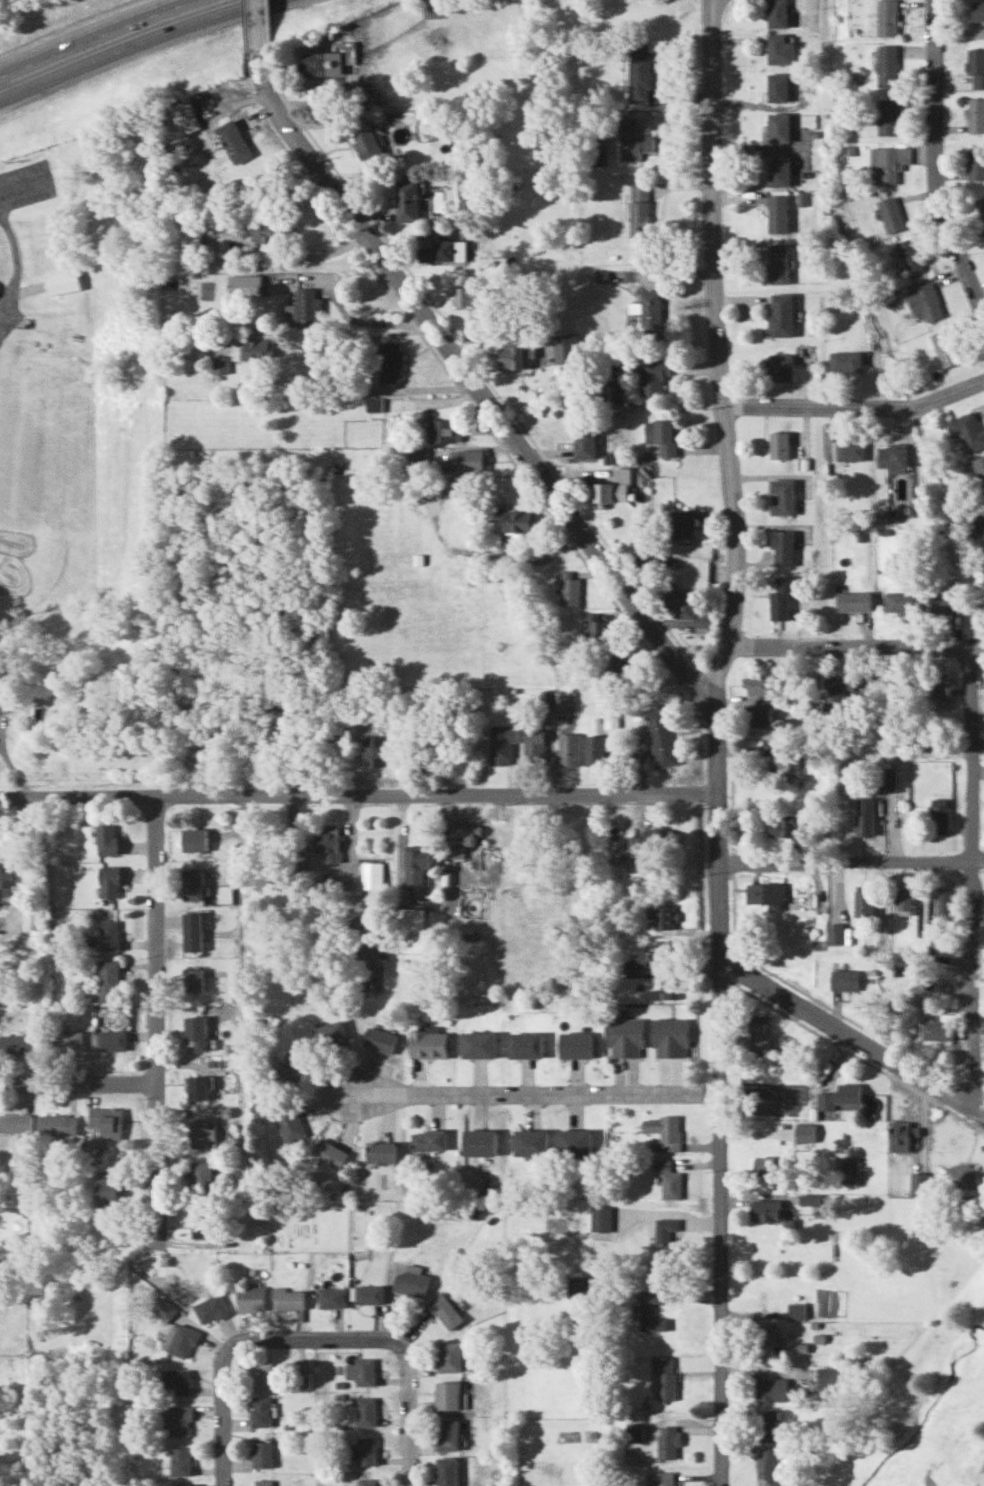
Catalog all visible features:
building: (977, 10)
building: (777, 13)
building: (888, 17)
road: (256, 24)
building: (976, 32)
road: (94, 36)
road: (129, 44)
building: (781, 50)
building: (348, 52)
building: (322, 64)
building: (888, 66)
building: (975, 66)
building: (640, 73)
building: (779, 87)
building: (975, 115)
building: (889, 117)
building: (779, 127)
building: (634, 141)
building: (233, 142)
building: (367, 144)
road: (940, 159)
building: (975, 163)
building: (884, 166)
building: (780, 172)
road: (26, 181)
building: (407, 200)
building: (981, 208)
building: (779, 214)
building: (892, 214)
building: (640, 218)
building: (261, 227)
building: (191, 238)
building: (444, 252)
building: (911, 256)
road: (17, 259)
building: (779, 263)
building: (61, 282)
building: (244, 285)
building: (470, 297)
building: (925, 301)
building: (308, 307)
building: (652, 313)
building: (782, 315)
road: (336, 340)
building: (566, 346)
building: (945, 347)
building: (253, 350)
building: (516, 357)
building: (390, 361)
building: (846, 361)
building: (220, 365)
building: (782, 367)
building: (654, 376)
road: (472, 381)
road: (858, 400)
building: (372, 404)
building: (444, 431)
building: (968, 431)
building: (662, 436)
building: (585, 445)
building: (780, 446)
building: (851, 450)
building: (416, 455)
building: (895, 457)
building: (470, 460)
building: (981, 466)
building: (613, 488)
building: (784, 497)
building: (517, 521)
building: (682, 524)
building: (784, 548)
building: (647, 557)
building: (571, 589)
building: (783, 600)
building: (946, 601)
building: (854, 602)
building: (901, 602)
building: (687, 608)
building: (598, 631)
road: (858, 644)
building: (620, 663)
building: (759, 687)
building: (942, 687)
building: (838, 689)
building: (565, 701)
building: (4, 704)
building: (546, 705)
building: (759, 716)
building: (662, 738)
road: (716, 740)
building: (534, 747)
building: (504, 748)
building: (570, 750)
building: (373, 751)
building: (595, 751)
building: (787, 763)
building: (887, 781)
road: (358, 793)
building: (939, 816)
building: (866, 818)
building: (786, 826)
building: (464, 835)
building: (106, 840)
building: (193, 840)
building: (660, 840)
building: (327, 845)
road: (851, 859)
building: (416, 865)
road: (973, 871)
building: (372, 876)
building: (7, 878)
building: (107, 882)
building: (192, 885)
building: (767, 895)
building: (865, 901)
building: (903, 902)
building: (943, 905)
building: (663, 917)
building: (406, 919)
building: (30, 920)
building: (192, 932)
building: (836, 934)
building: (107, 936)
road: (247, 937)
building: (882, 945)
building: (666, 950)
building: (632, 969)
building: (845, 980)
building: (193, 981)
building: (107, 982)
building: (666, 991)
road: (154, 1018)
road: (843, 1028)
building: (937, 1030)
building: (332, 1034)
building: (198, 1035)
building: (754, 1037)
building: (625, 1038)
building: (670, 1038)
building: (380, 1040)
building: (110, 1041)
building: (68, 1042)
building: (17, 1044)
building: (428, 1044)
building: (478, 1045)
building: (575, 1045)
building: (525, 1046)
building: (292, 1070)
road: (77, 1083)
building: (197, 1088)
road: (536, 1092)
building: (839, 1097)
building: (107, 1121)
building: (288, 1121)
building: (15, 1122)
building: (58, 1123)
building: (663, 1130)
building: (804, 1132)
building: (200, 1133)
building: (900, 1134)
building: (428, 1139)
building: (479, 1141)
building: (574, 1141)
building: (530, 1142)
building: (380, 1151)
building: (329, 1153)
building: (772, 1165)
building: (960, 1175)
building: (201, 1178)
building: (668, 1178)
building: (107, 1190)
building: (811, 1198)
building: (767, 1209)
building: (981, 1215)
building: (600, 1217)
building: (202, 1222)
building: (666, 1235)
building: (412, 1281)
building: (580, 1287)
building: (368, 1294)
building: (331, 1297)
building: (249, 1298)
building: (288, 1299)
building: (209, 1309)
building: (650, 1310)
building: (445, 1311)
building: (764, 1334)
road: (307, 1336)
building: (179, 1340)
building: (449, 1356)
building: (363, 1371)
building: (261, 1374)
building: (664, 1376)
building: (834, 1376)
building: (303, 1380)
building: (176, 1381)
building: (772, 1390)
building: (447, 1394)
road: (408, 1406)
building: (366, 1411)
road: (223, 1412)
building: (260, 1412)
building: (178, 1420)
park: (918, 1420)
building: (767, 1425)
building: (447, 1434)
building: (666, 1442)
building: (364, 1451)
building: (261, 1454)
building: (179, 1460)
building: (766, 1467)
building: (447, 1471)
building: (664, 1478)
road: (981, 1479)
building: (262, 1482)
building: (366, 1482)
building: (181, 1484)

